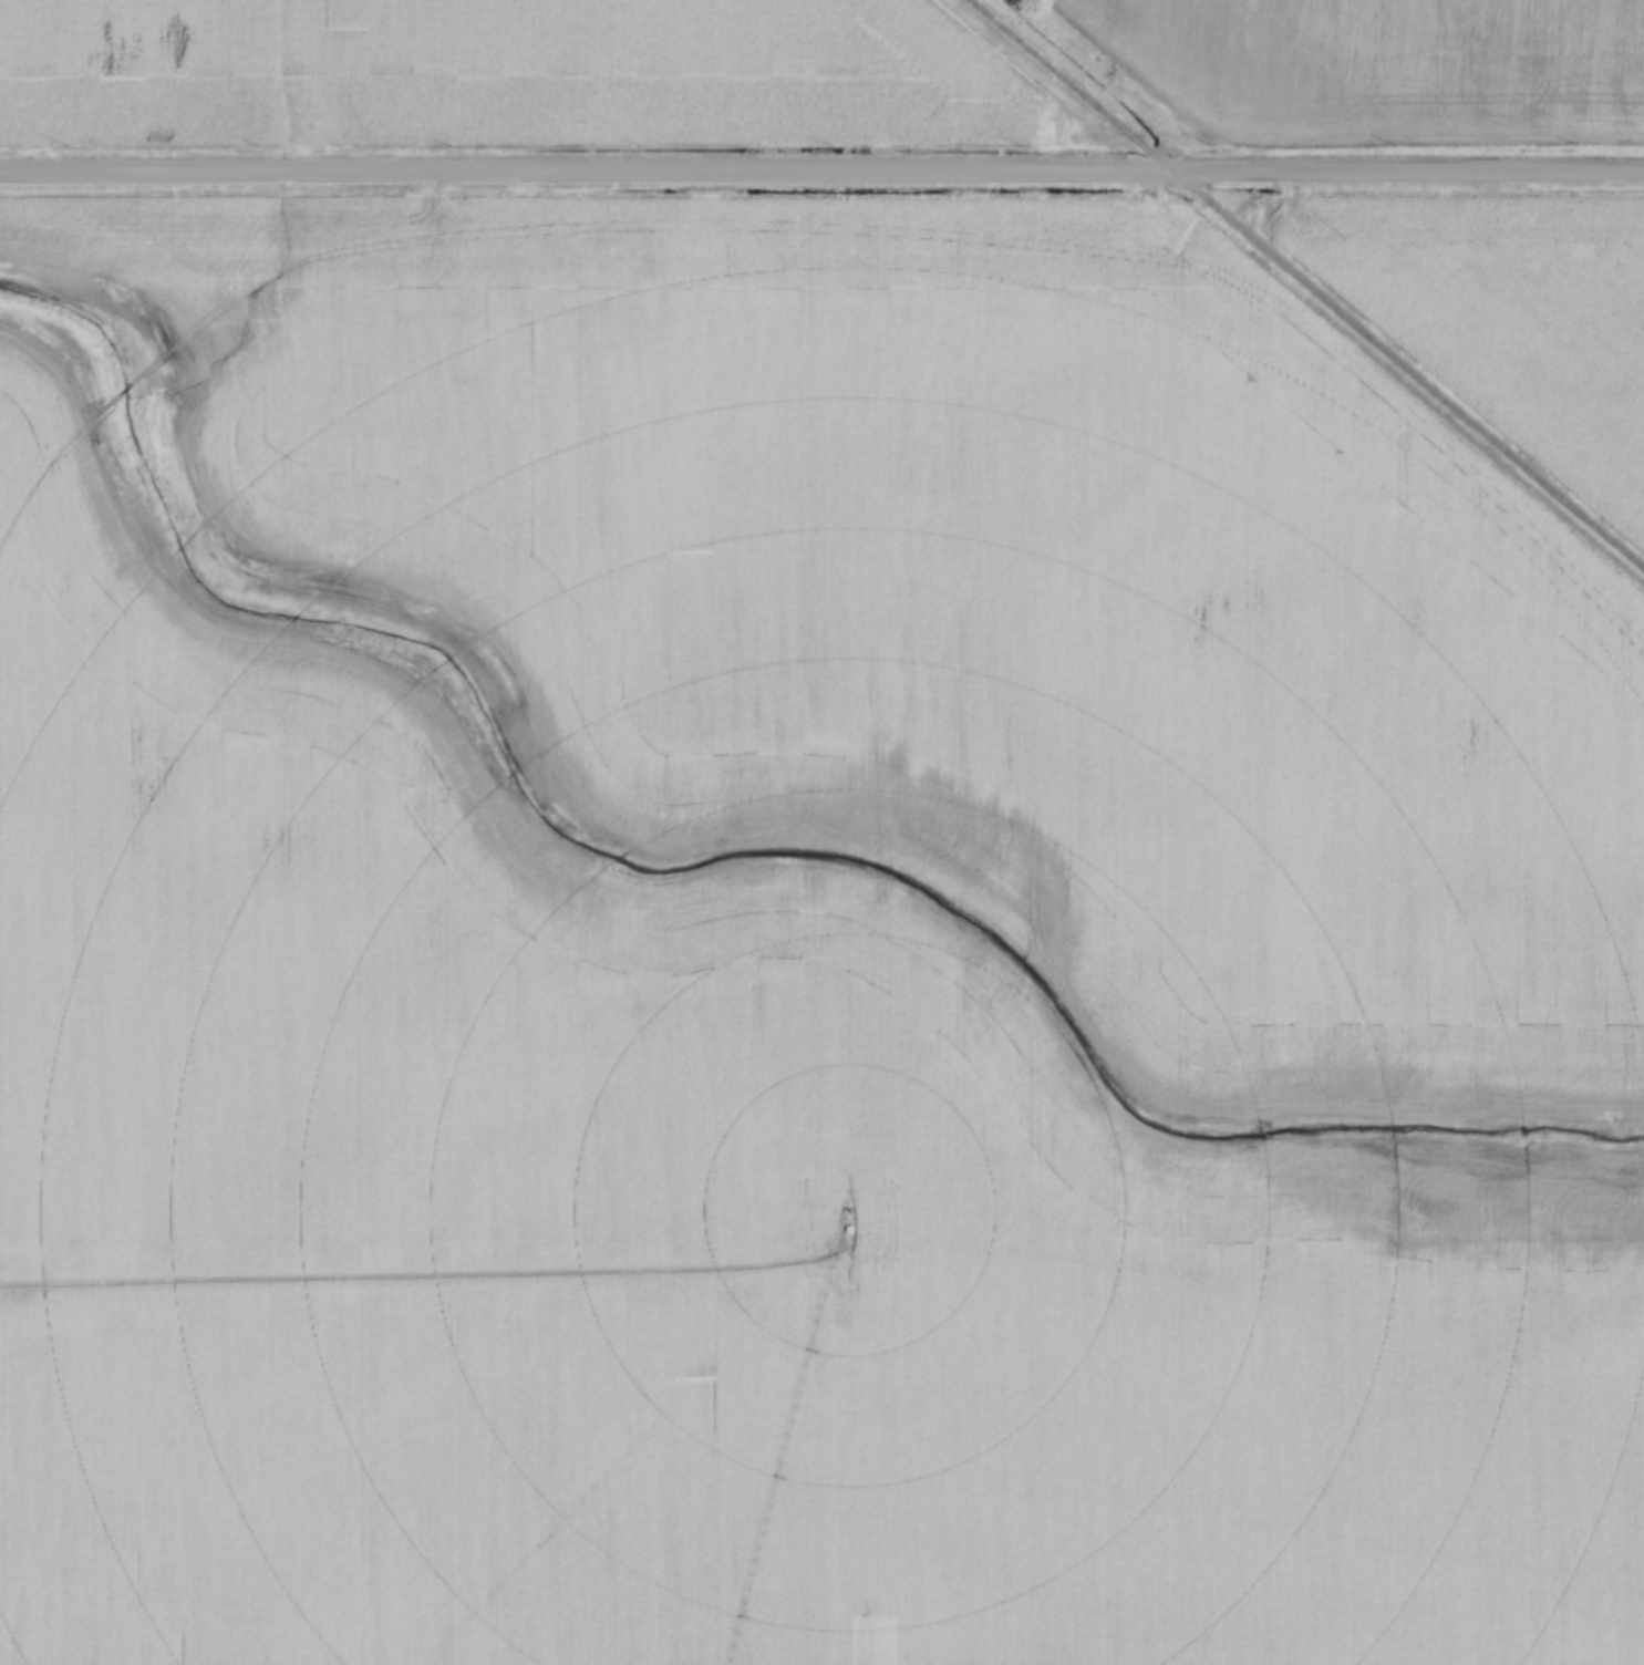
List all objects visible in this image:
road: (821, 167)
railway: (1314, 279)

